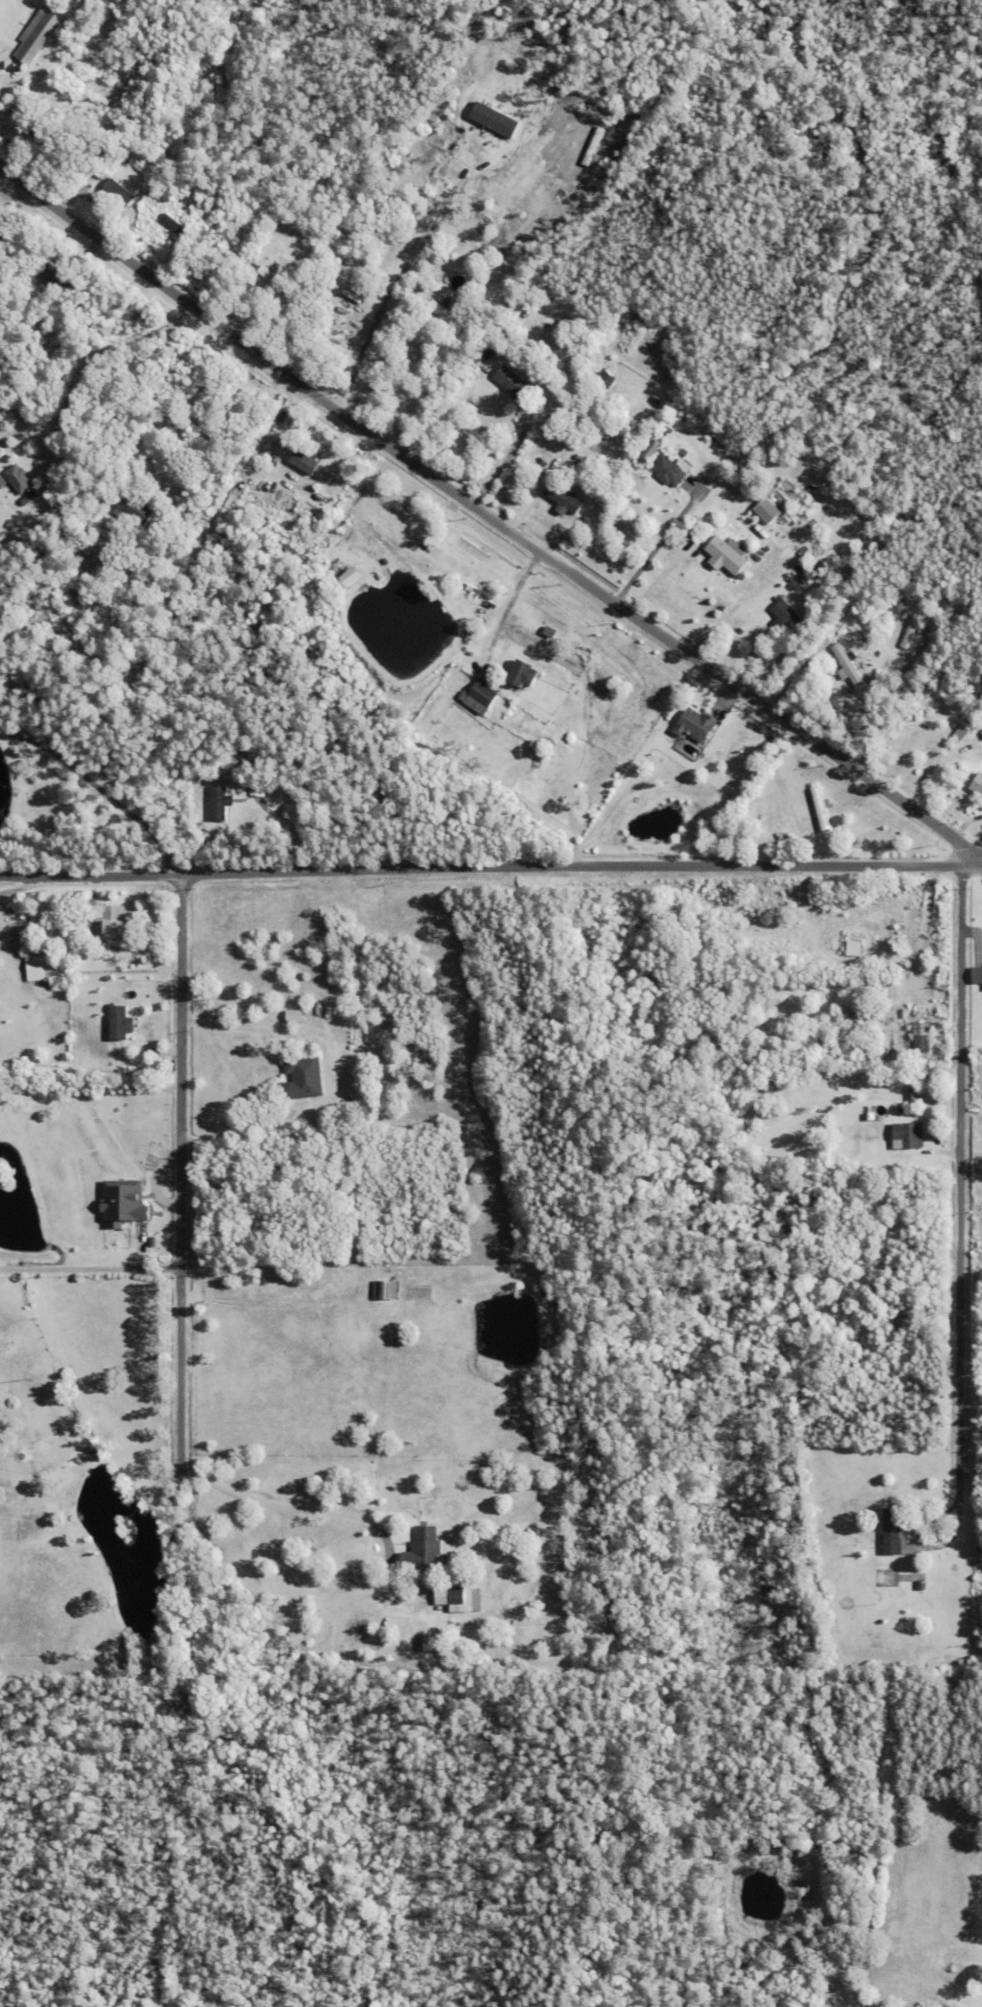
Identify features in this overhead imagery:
building: (39, 37)
building: (5, 51)
building: (41, 107)
building: (44, 139)
building: (123, 155)
building: (118, 192)
building: (285, 211)
building: (242, 270)
building: (272, 279)
building: (386, 296)
building: (529, 310)
building: (491, 348)
road: (87, 358)
building: (610, 380)
building: (511, 381)
building: (582, 388)
road: (402, 393)
road: (181, 408)
building: (608, 425)
building: (652, 450)
building: (306, 461)
building: (721, 461)
building: (21, 470)
building: (669, 471)
building: (2, 481)
building: (565, 498)
building: (133, 509)
building: (771, 510)
road: (488, 516)
building: (124, 543)
building: (729, 554)
building: (354, 576)
building: (805, 577)
road: (507, 602)
building: (761, 612)
building: (786, 616)
building: (911, 631)
building: (847, 665)
building: (522, 674)
building: (115, 676)
building: (122, 689)
building: (481, 697)
building: (695, 725)
building: (963, 731)
building: (732, 737)
building: (652, 747)
building: (662, 760)
building: (198, 771)
road: (108, 785)
building: (977, 787)
building: (257, 789)
building: (218, 803)
building: (203, 807)
building: (821, 810)
road: (375, 868)
road: (92, 873)
building: (108, 920)
building: (855, 948)
building: (34, 968)
building: (977, 976)
building: (860, 1000)
building: (855, 1001)
building: (296, 1016)
building: (117, 1023)
building: (921, 1038)
building: (300, 1080)
building: (861, 1084)
building: (913, 1094)
building: (908, 1137)
road: (956, 1197)
building: (125, 1202)
road: (90, 1269)
building: (385, 1291)
road: (222, 1489)
building: (897, 1534)
building: (427, 1549)
building: (882, 1580)
building: (922, 1587)
building: (456, 1597)
building: (967, 2002)

